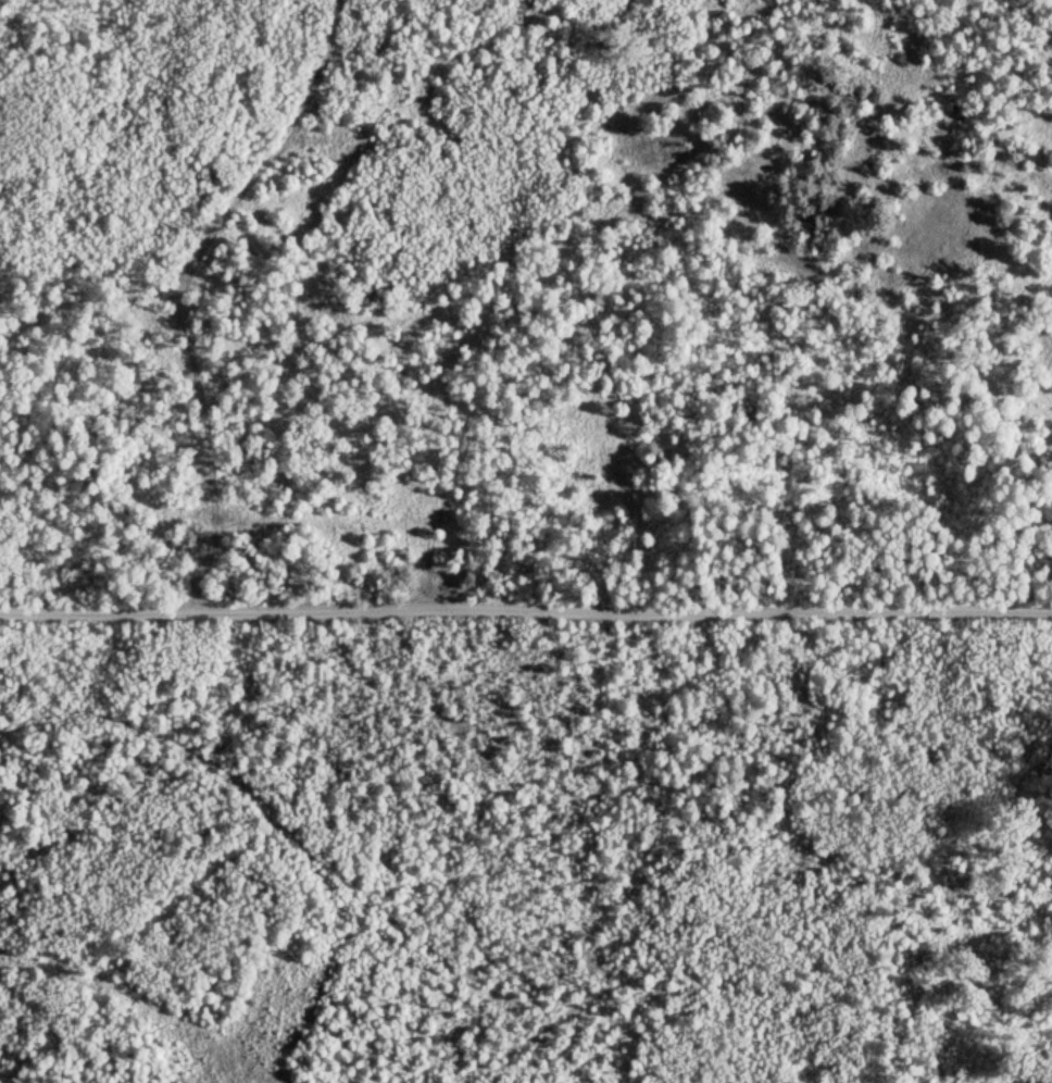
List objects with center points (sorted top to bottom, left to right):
road: (525, 609)

